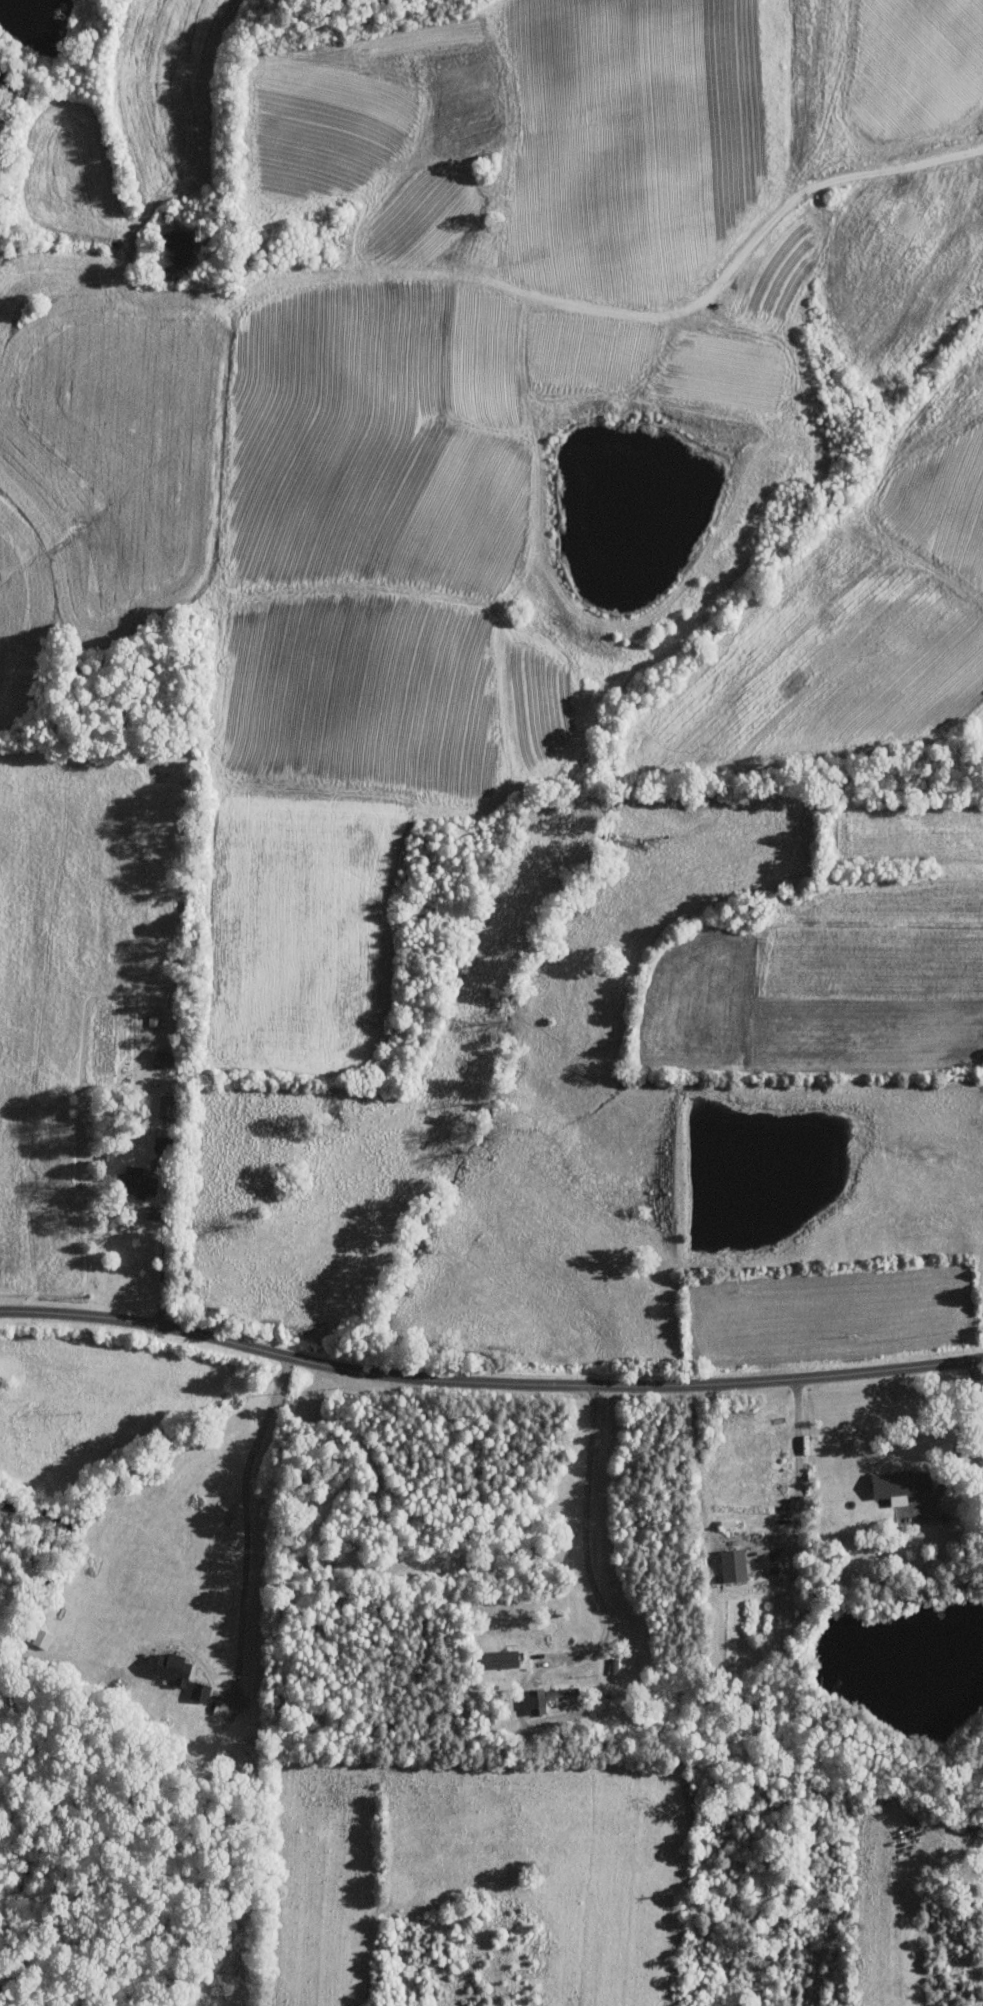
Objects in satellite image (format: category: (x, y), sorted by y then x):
building: (154, 1019)
building: (165, 1059)
building: (168, 1106)
building: (164, 1140)
building: (143, 1183)
road: (166, 1251)
road: (488, 1383)
road: (960, 1433)
road: (798, 1466)
building: (905, 1483)
road: (247, 1527)
building: (736, 1565)
road: (601, 1642)
building: (505, 1658)
building: (183, 1674)
building: (549, 1698)

